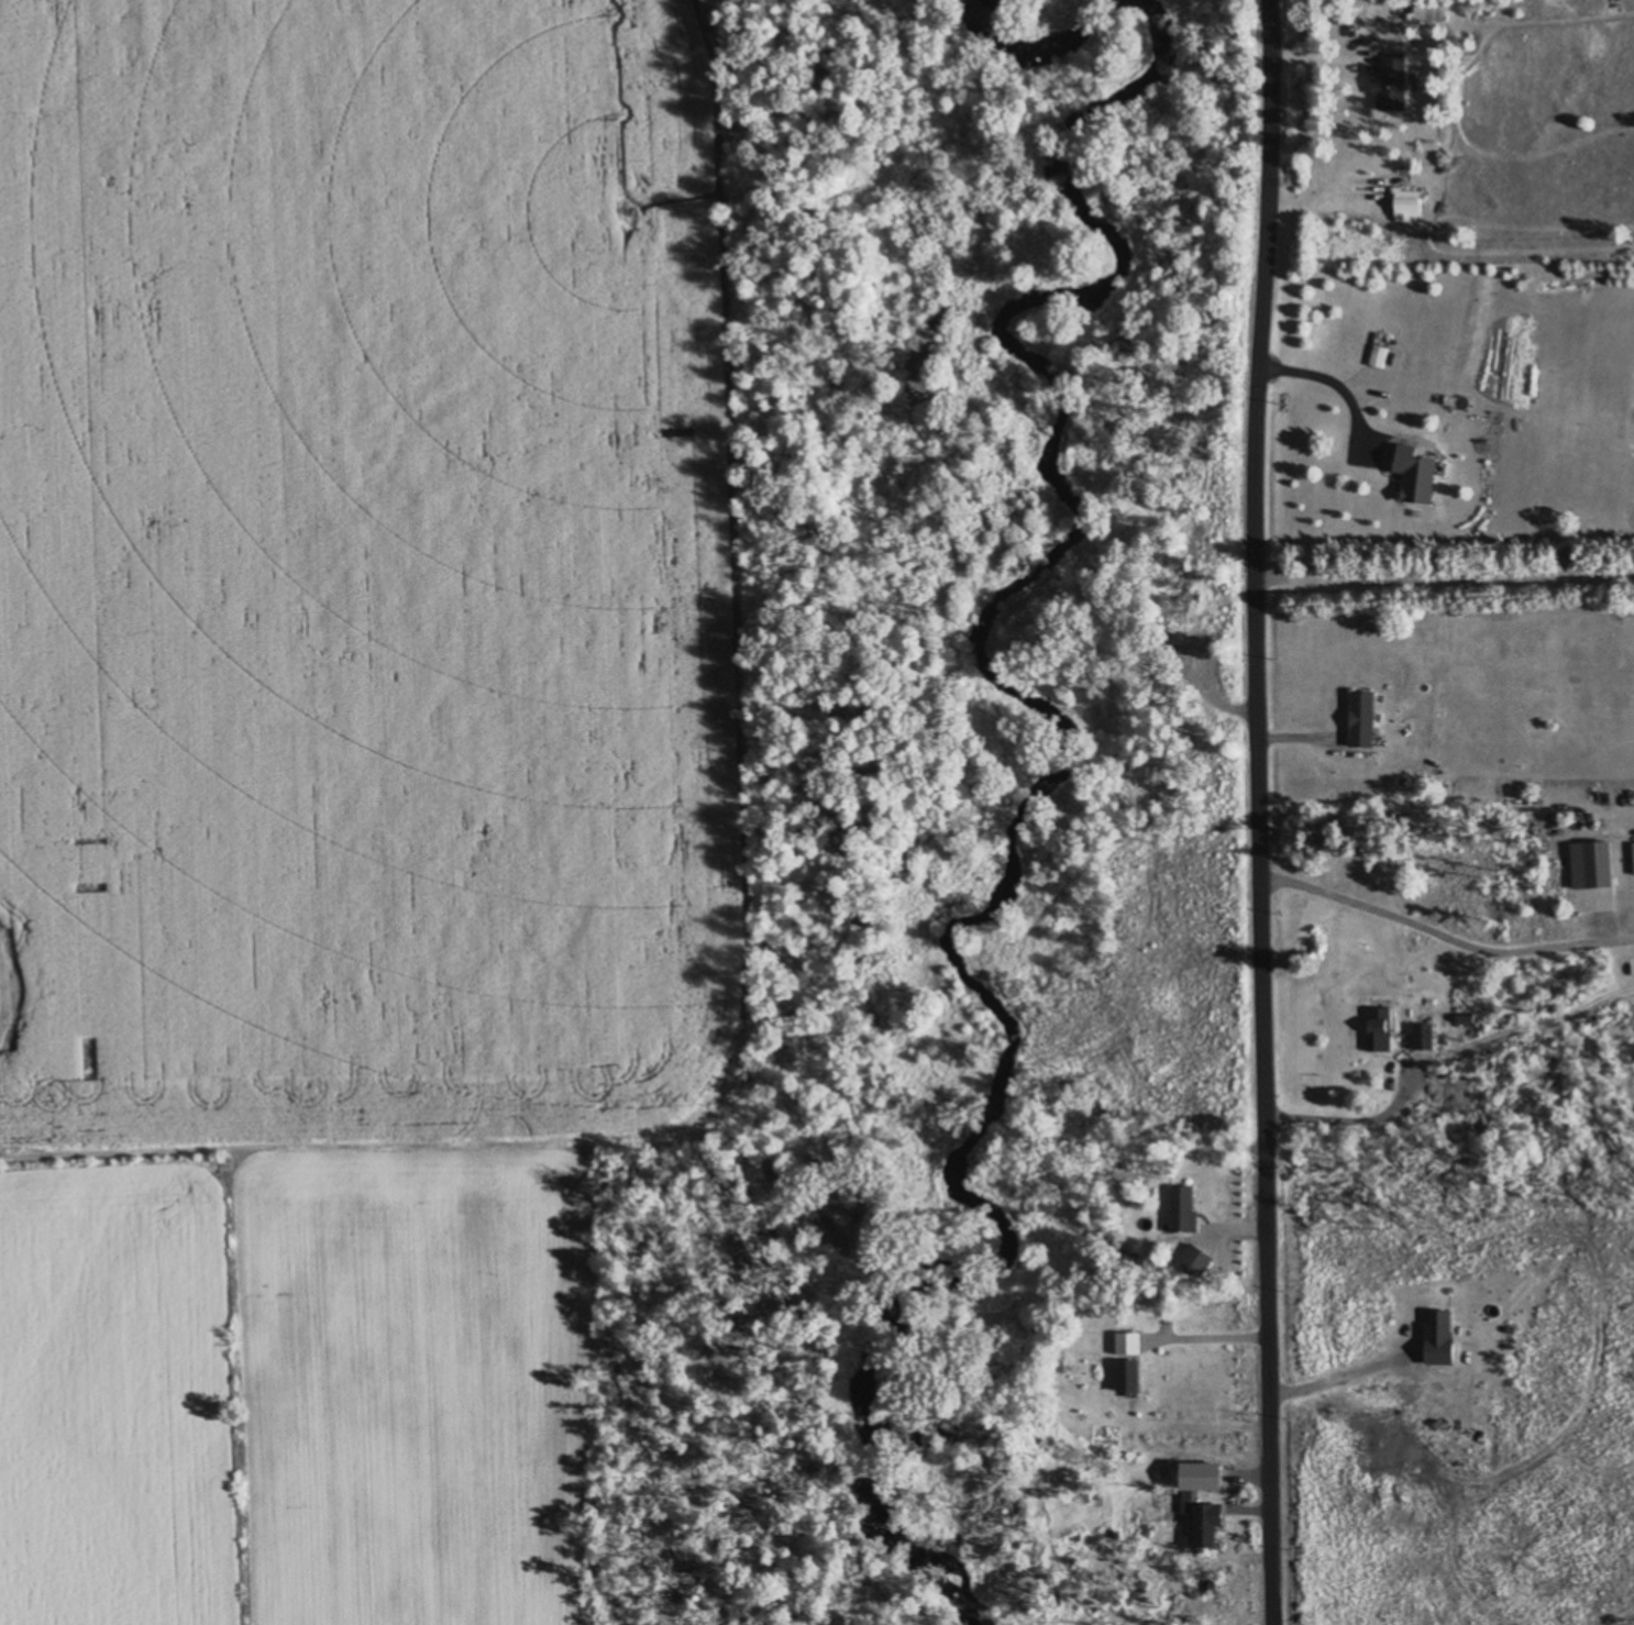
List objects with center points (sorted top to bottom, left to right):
building: (1425, 12)
building: (1385, 82)
building: (1403, 203)
building: (1379, 356)
road: (1331, 386)
building: (1411, 478)
road: (1444, 581)
building: (1356, 718)
road: (1257, 811)
building: (1586, 863)
road: (1443, 929)
crop: (219, 970)
building: (1374, 1028)
building: (1178, 1209)
building: (1432, 1325)
building: (1122, 1342)
building: (1122, 1375)
building: (1192, 1475)
building: (1201, 1524)

